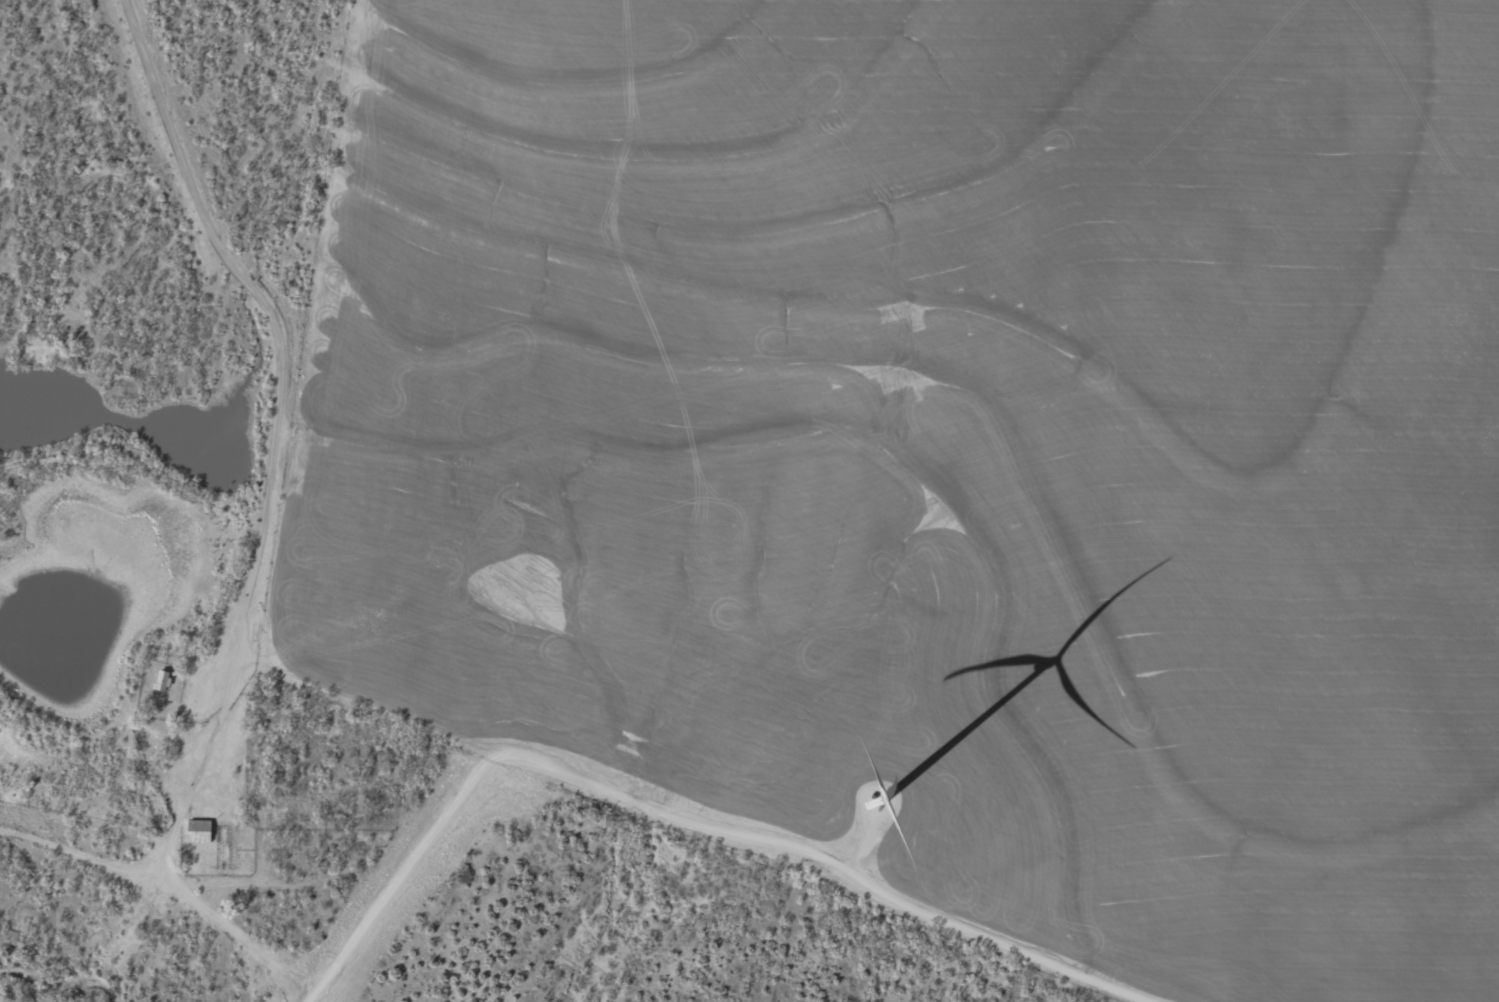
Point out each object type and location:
building: (161, 682)
wind turbine: (877, 802)
building: (198, 833)
road: (76, 882)
road: (215, 940)

